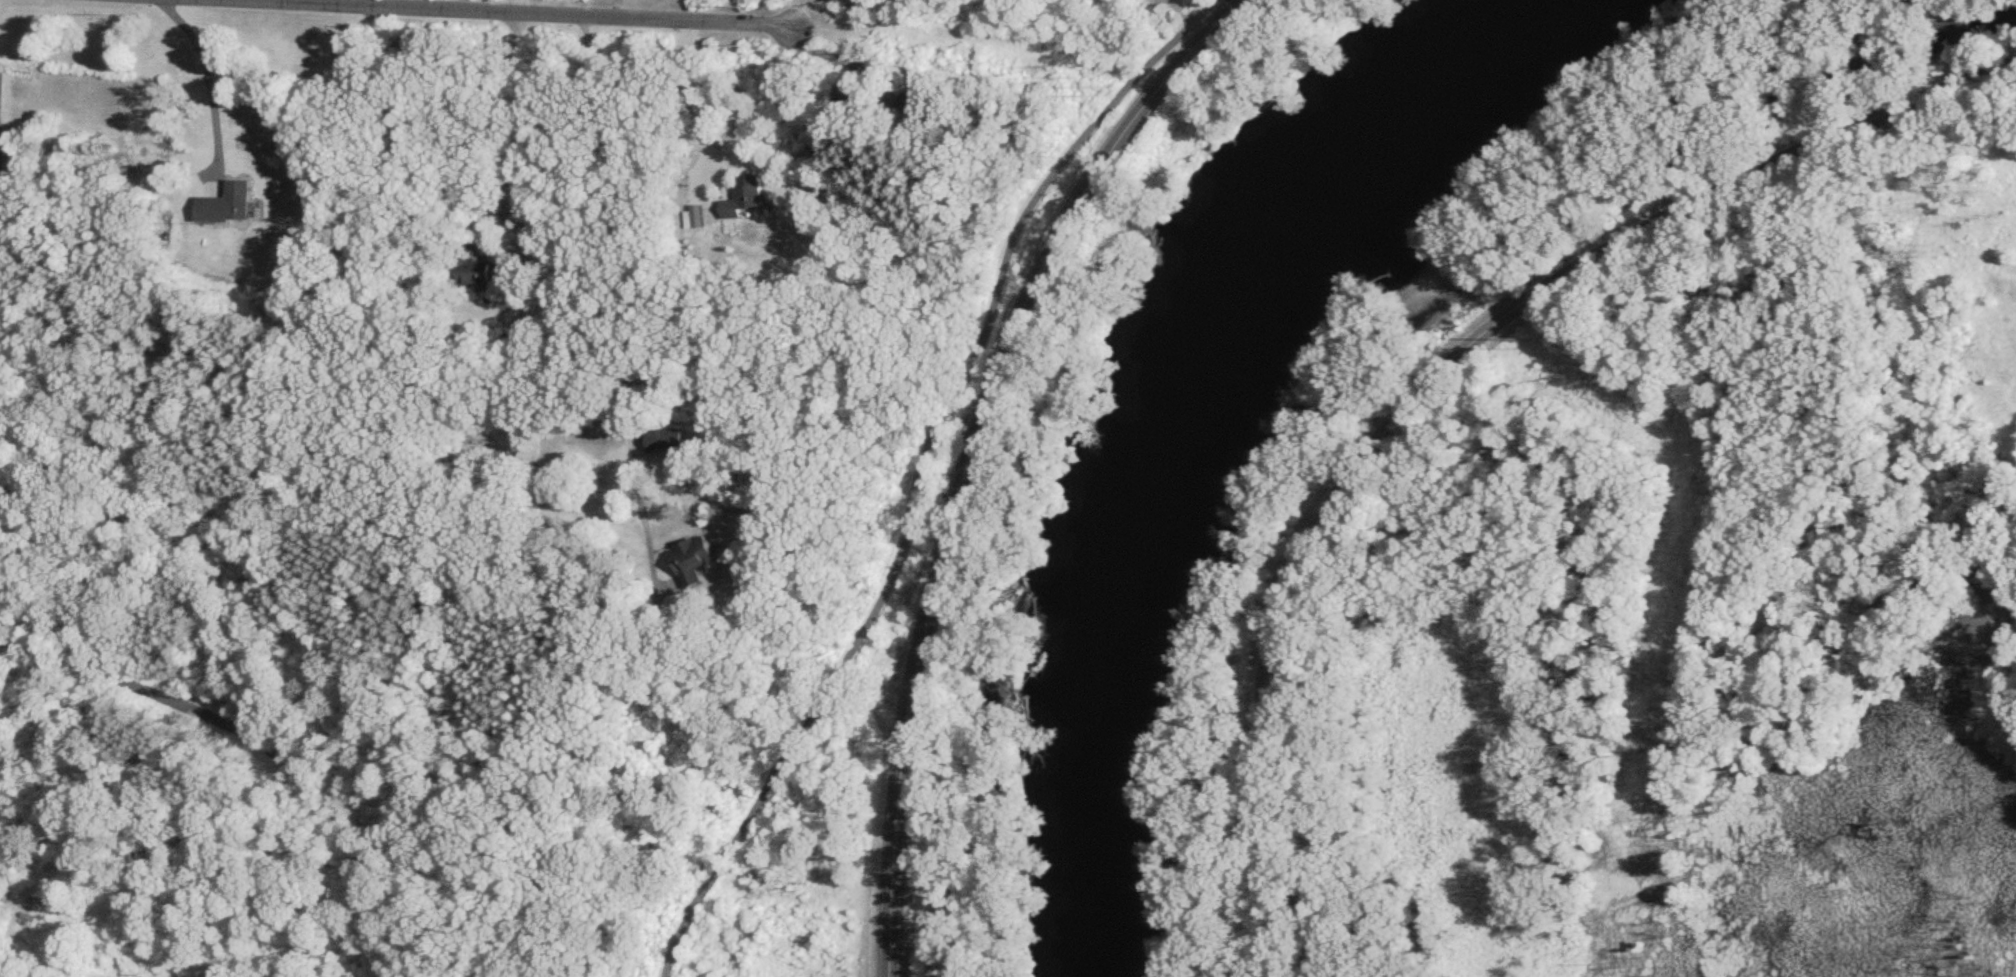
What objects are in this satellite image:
road: (526, 14)
road: (210, 76)
road: (697, 99)
building: (851, 105)
building: (917, 112)
building: (746, 197)
building: (229, 205)
building: (701, 218)
road: (525, 268)
building: (472, 269)
road: (619, 286)
road: (1437, 372)
river: (1191, 417)
building: (667, 442)
road: (975, 453)
road: (923, 474)
building: (694, 560)
road: (261, 739)
park: (406, 800)
road: (11, 887)

